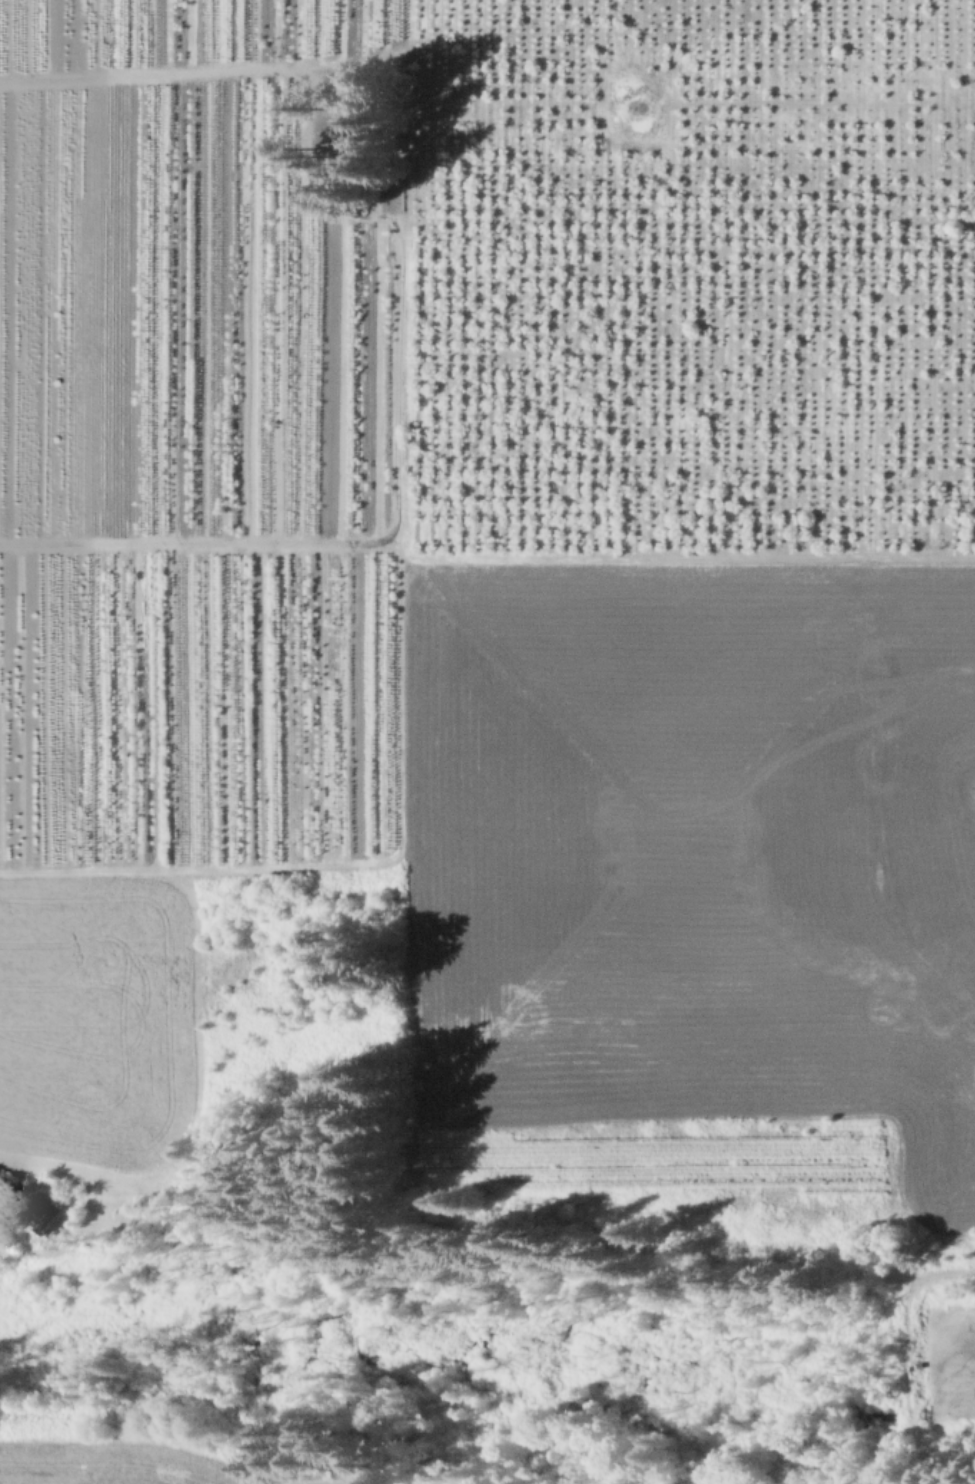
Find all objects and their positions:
road: (392, 314)
crop: (692, 882)
road: (10, 1197)
building: (48, 1216)
crop: (141, 1463)

